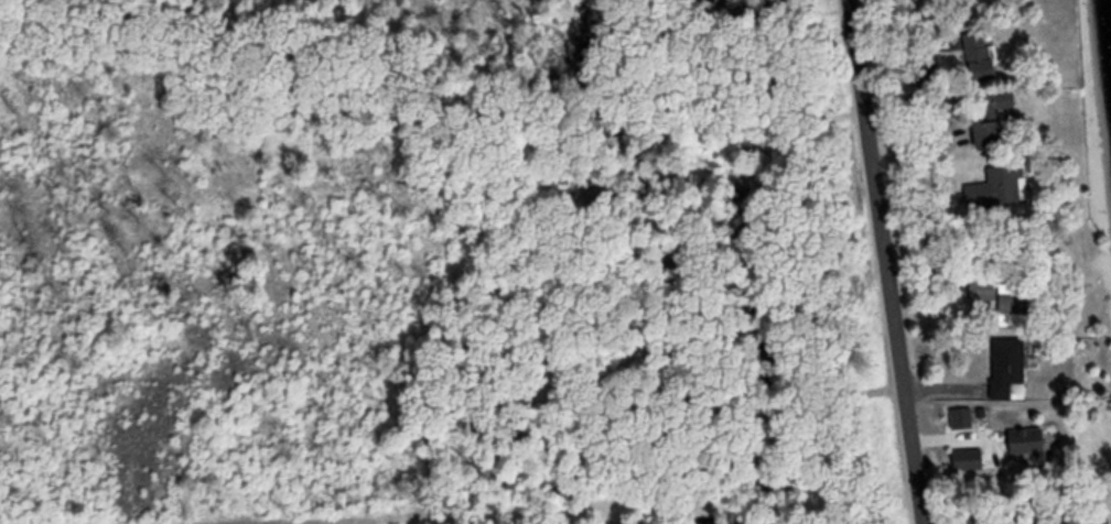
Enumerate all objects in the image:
building: (975, 54)
building: (985, 118)
building: (995, 184)
road: (884, 262)
building: (978, 287)
building: (1004, 371)
building: (1021, 438)

